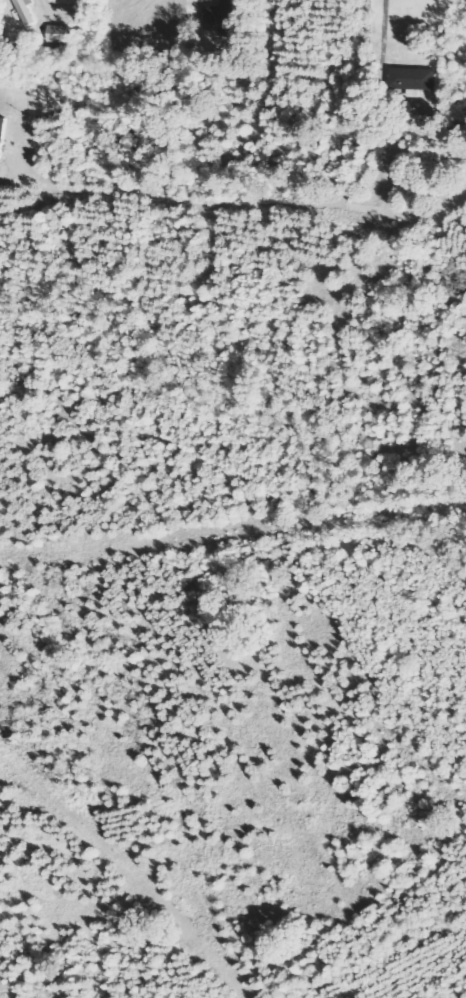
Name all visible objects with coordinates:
building: (28, 12)
building: (226, 16)
building: (61, 34)
building: (414, 80)
building: (3, 135)

